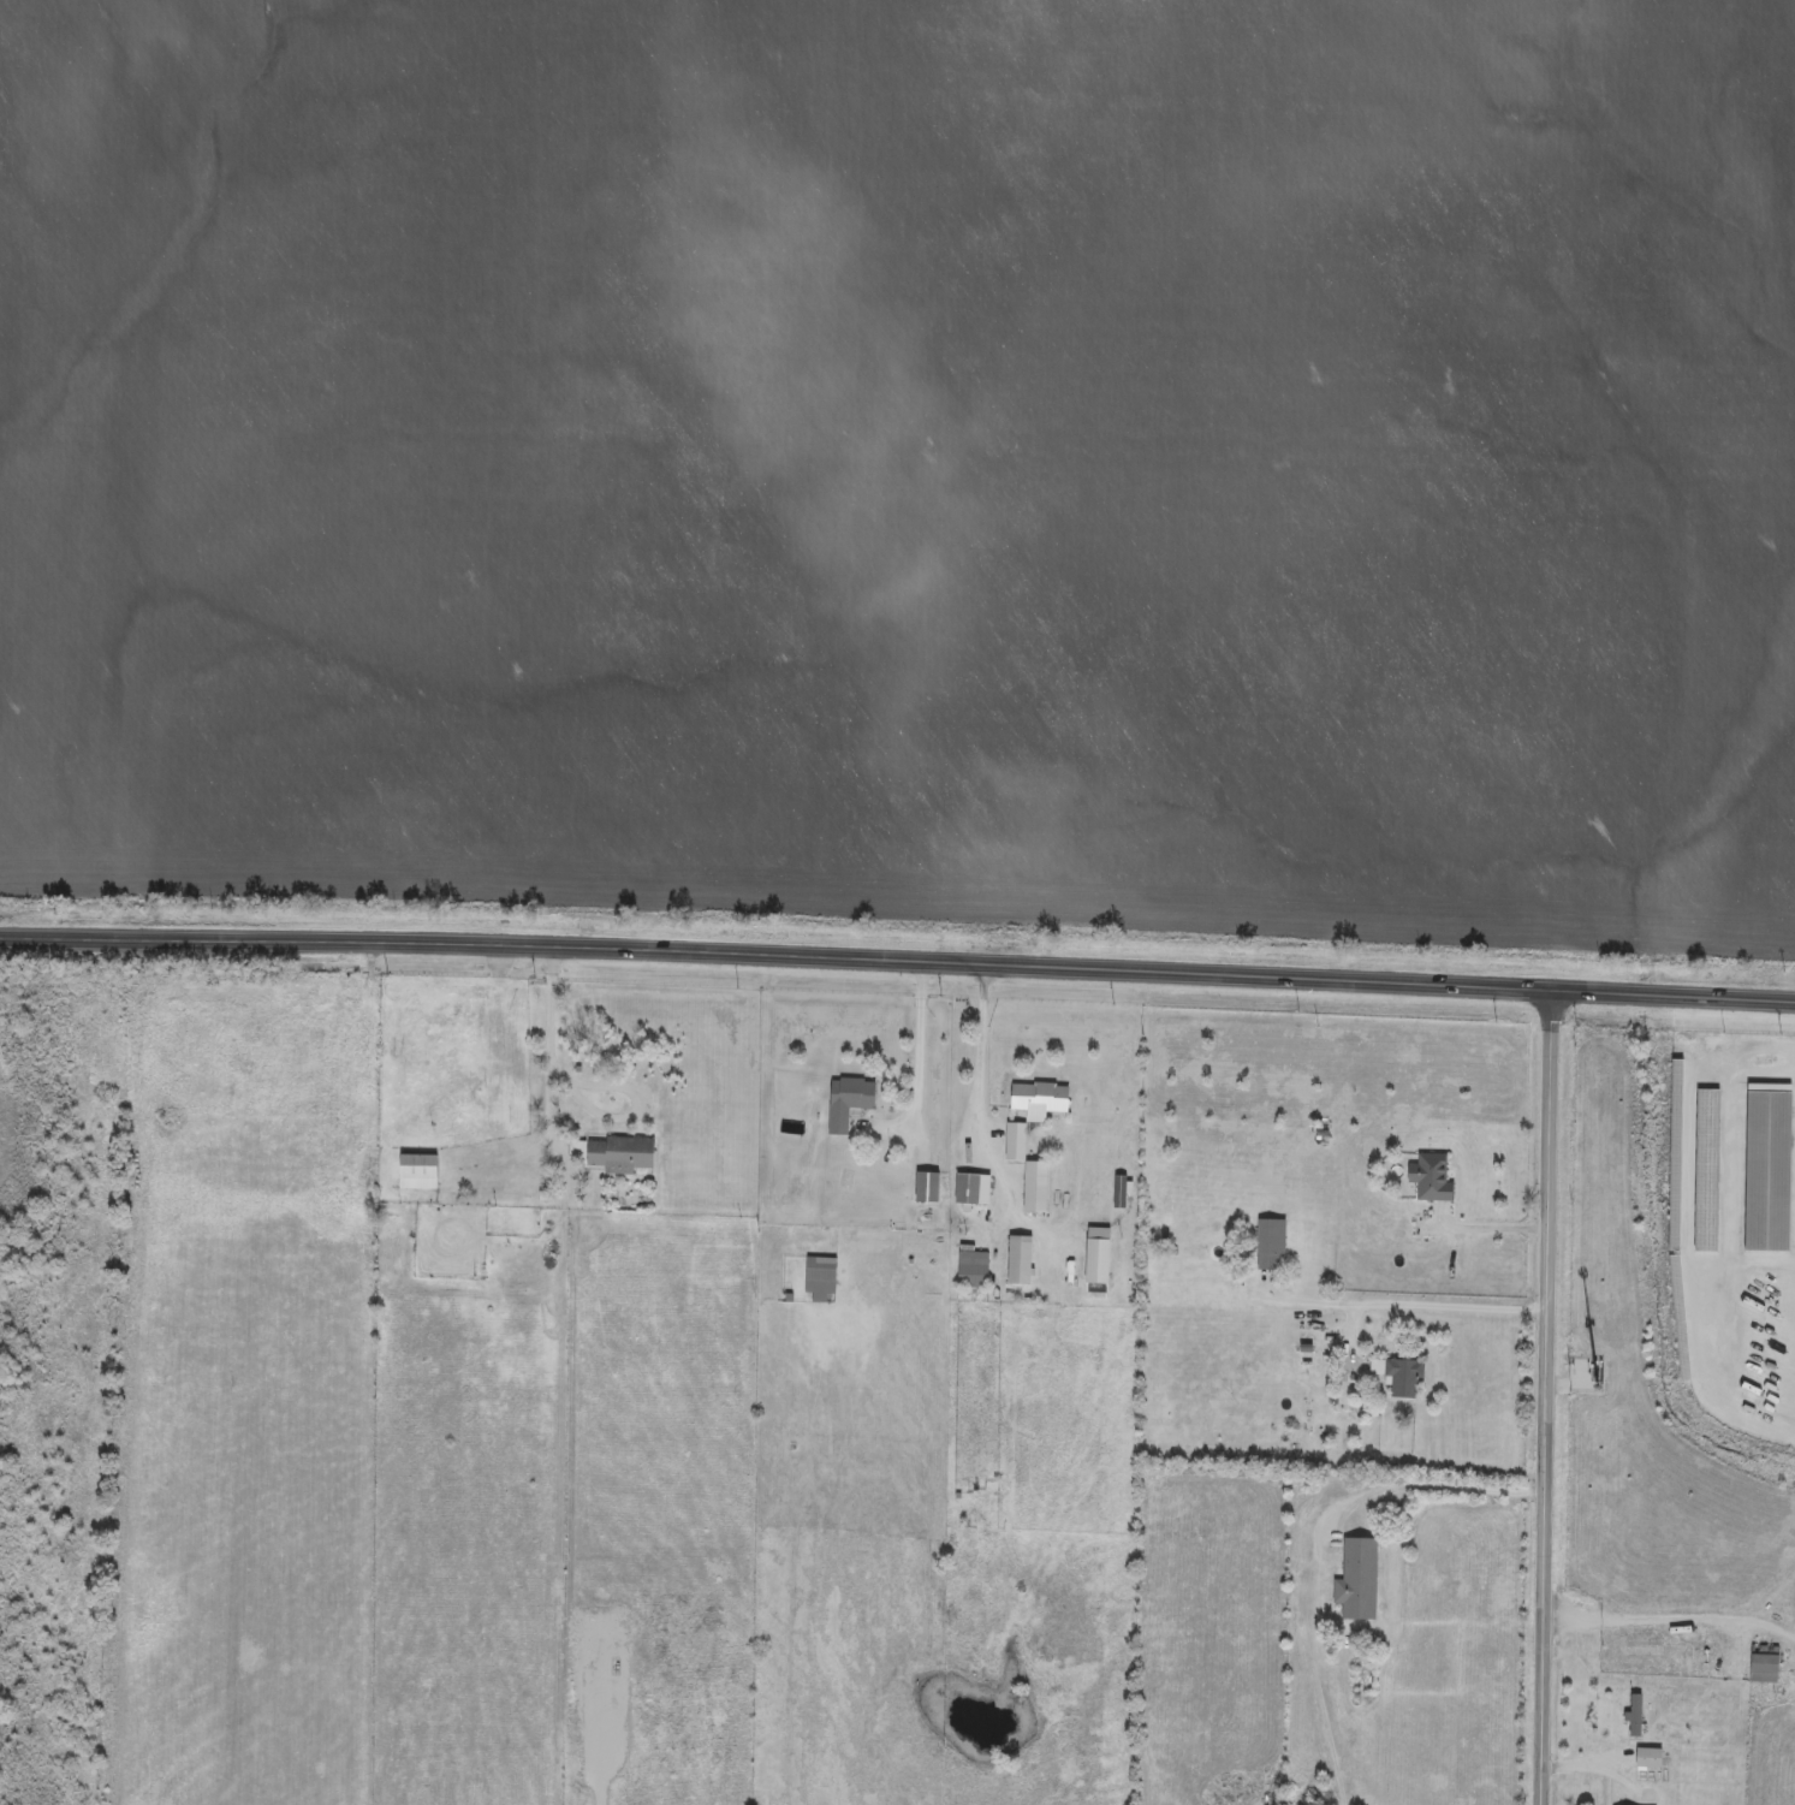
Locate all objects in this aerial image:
road: (897, 962)
road: (977, 1058)
road: (915, 1075)
road: (595, 1082)
building: (1038, 1102)
building: (846, 1103)
building: (619, 1157)
building: (416, 1174)
building: (1767, 1174)
building: (1428, 1181)
building: (926, 1191)
building: (965, 1191)
road: (1494, 1233)
road: (1695, 1235)
building: (1270, 1247)
building: (1017, 1263)
building: (970, 1272)
building: (819, 1279)
road: (1393, 1307)
road: (1349, 1352)
building: (1397, 1378)
road: (1549, 1399)
road: (1314, 1549)
building: (1356, 1581)
road: (1671, 1623)
road: (1640, 1658)
building: (1763, 1667)
building: (1633, 1717)
building: (1648, 1761)
road: (1580, 1768)

